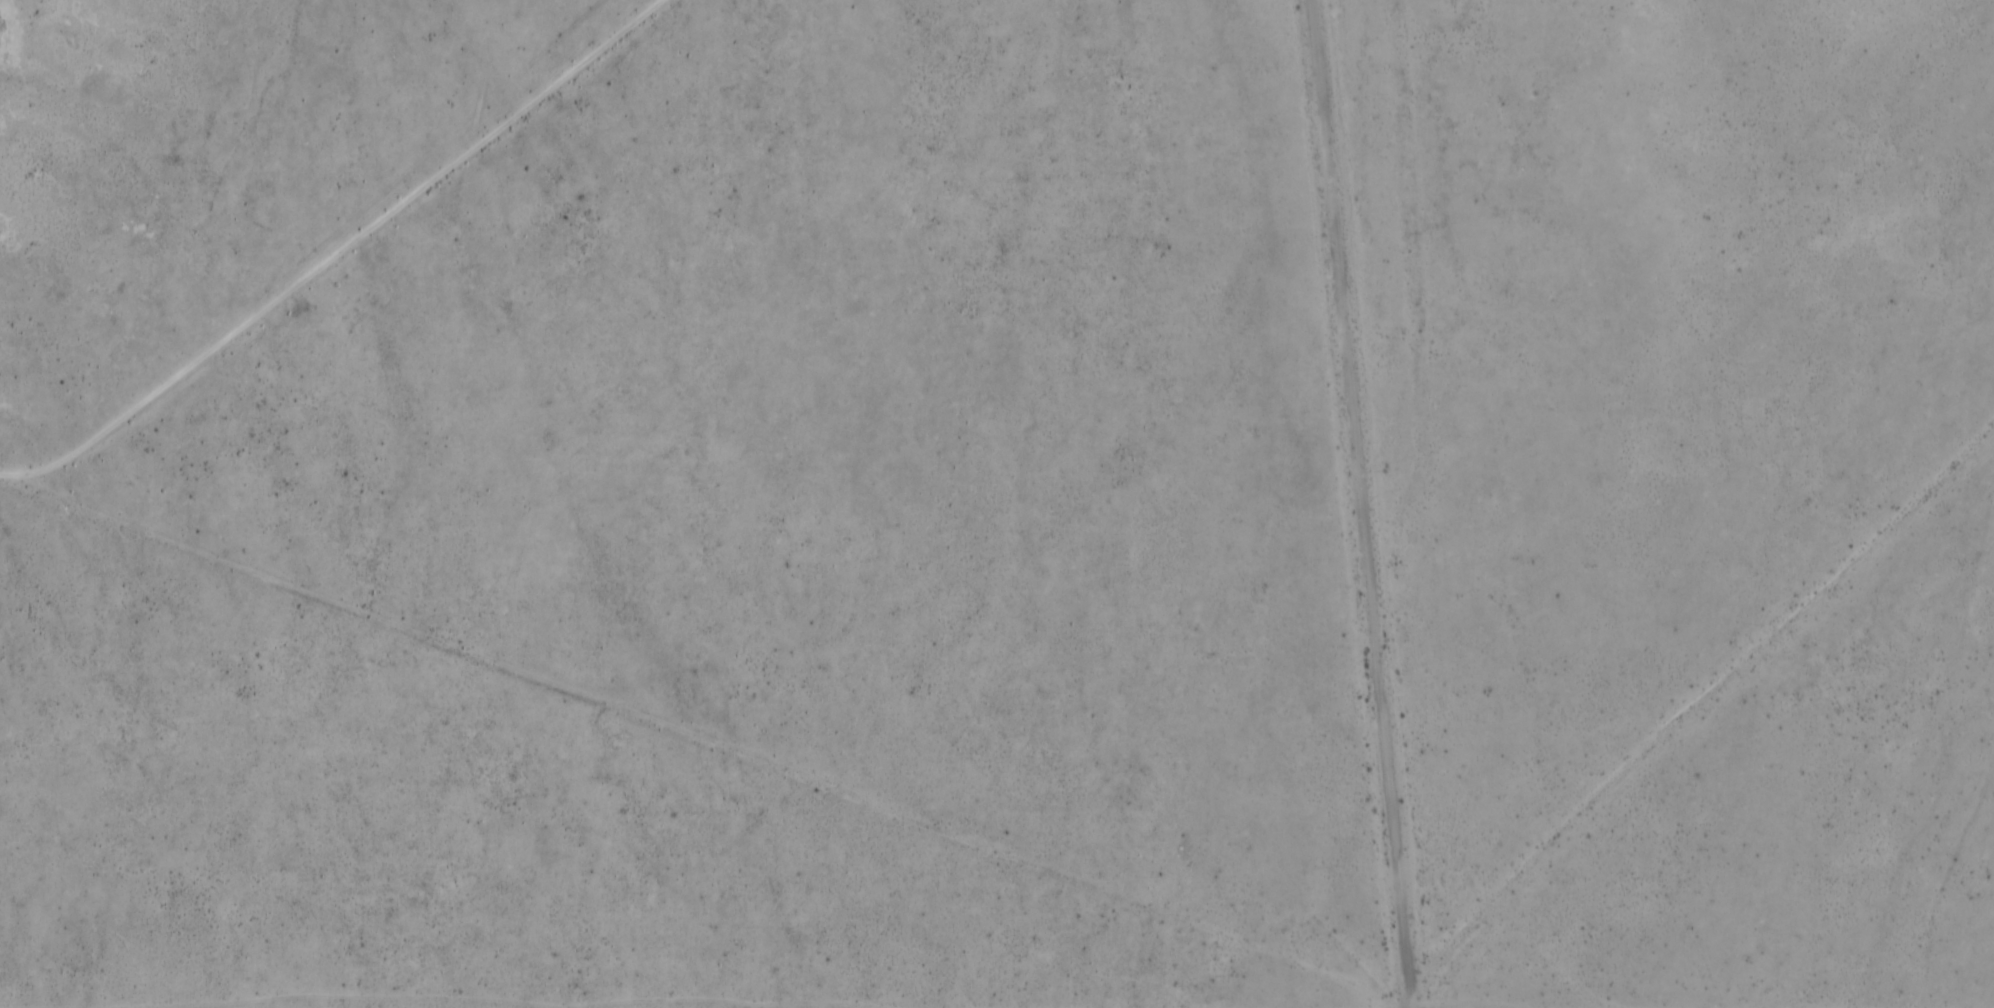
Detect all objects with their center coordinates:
airport runway: (1407, 229)
road: (1361, 504)

